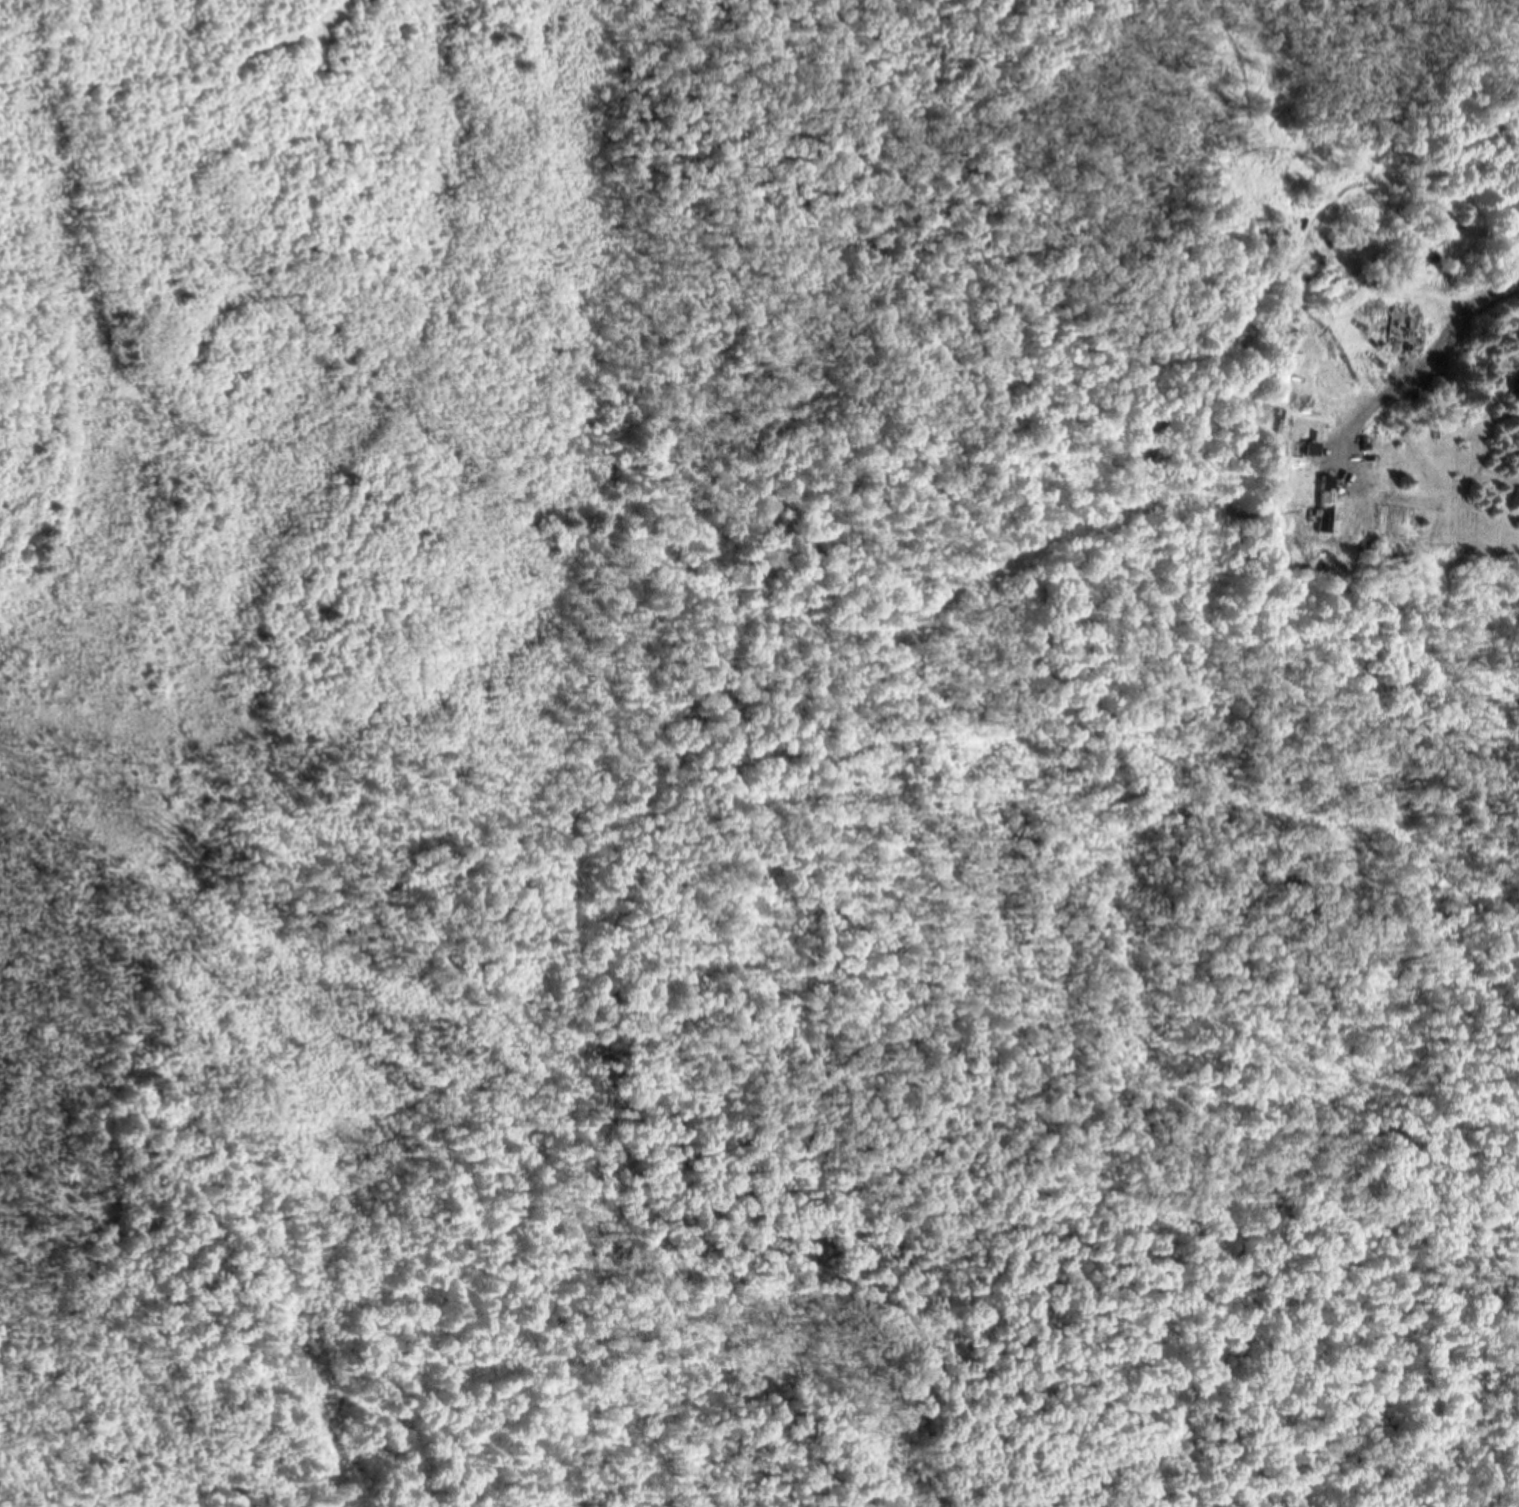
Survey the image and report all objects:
building: (1399, 328)
building: (1512, 387)

